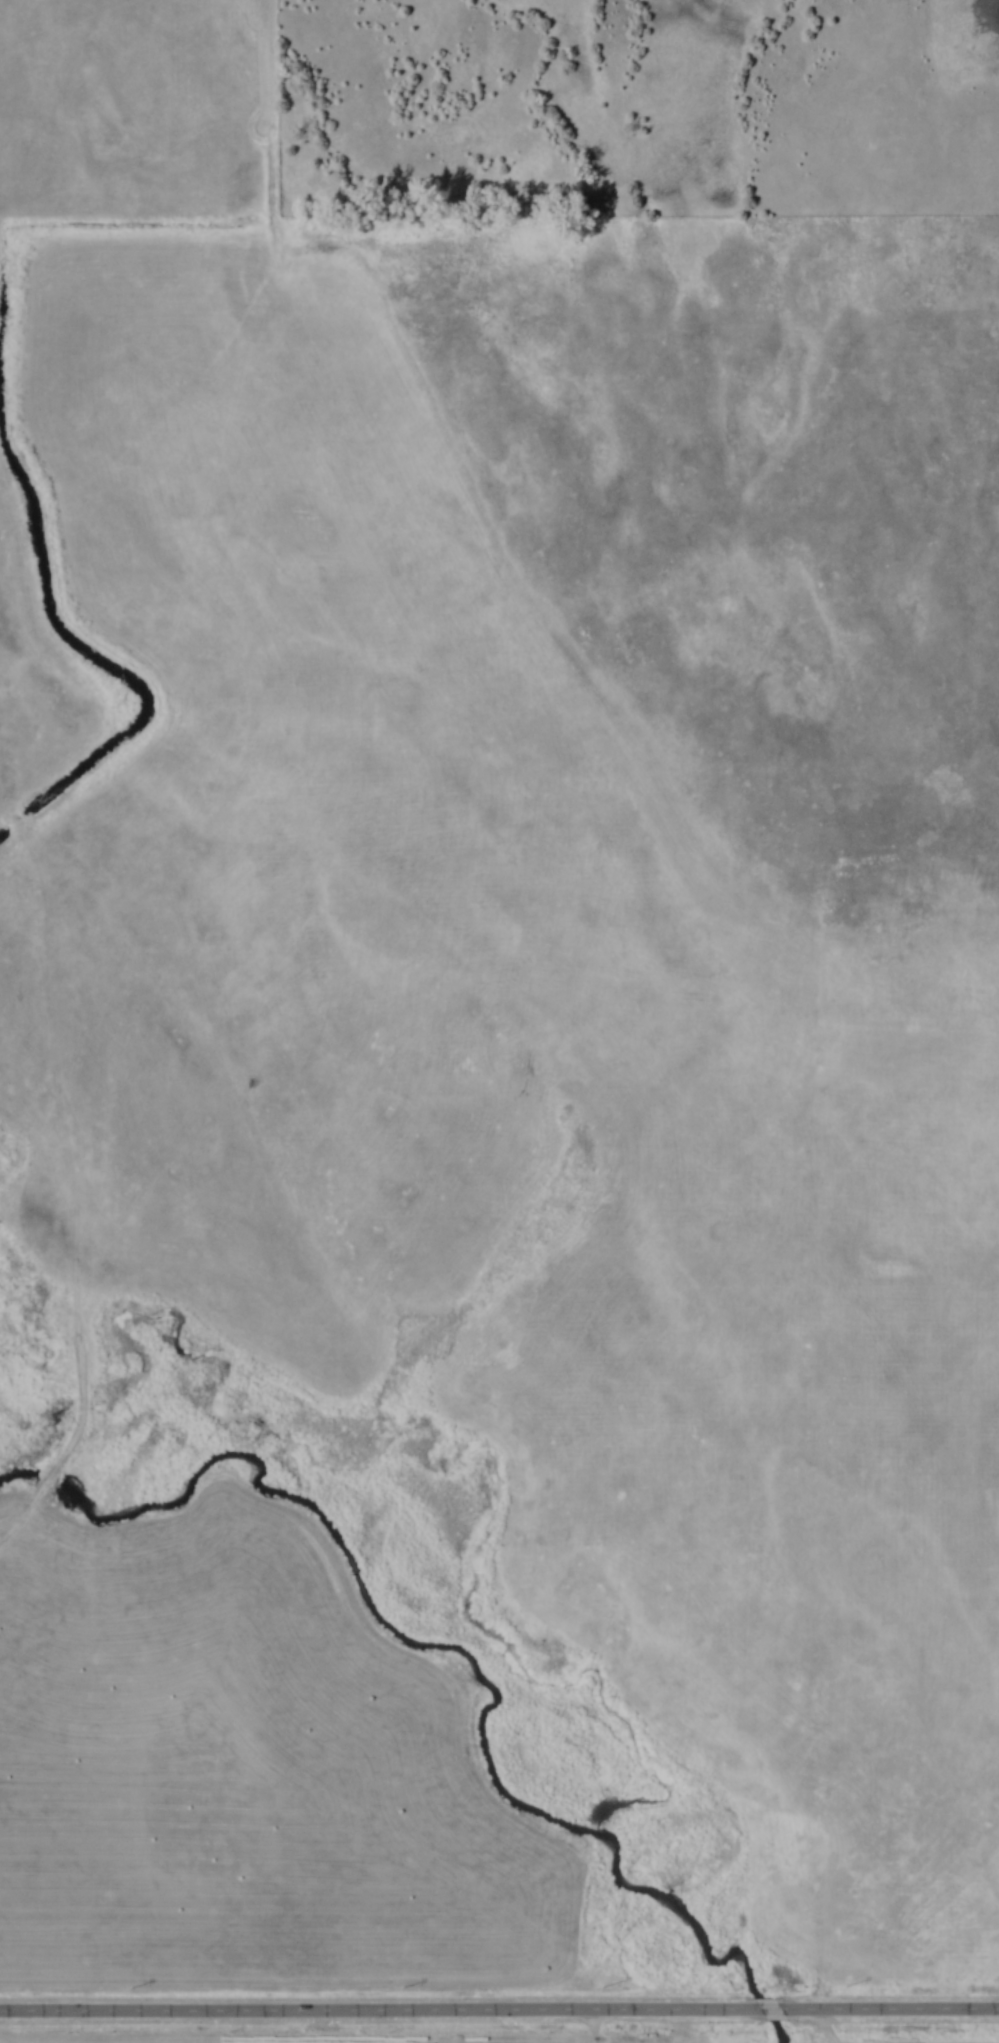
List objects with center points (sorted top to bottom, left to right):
road: (499, 2008)

